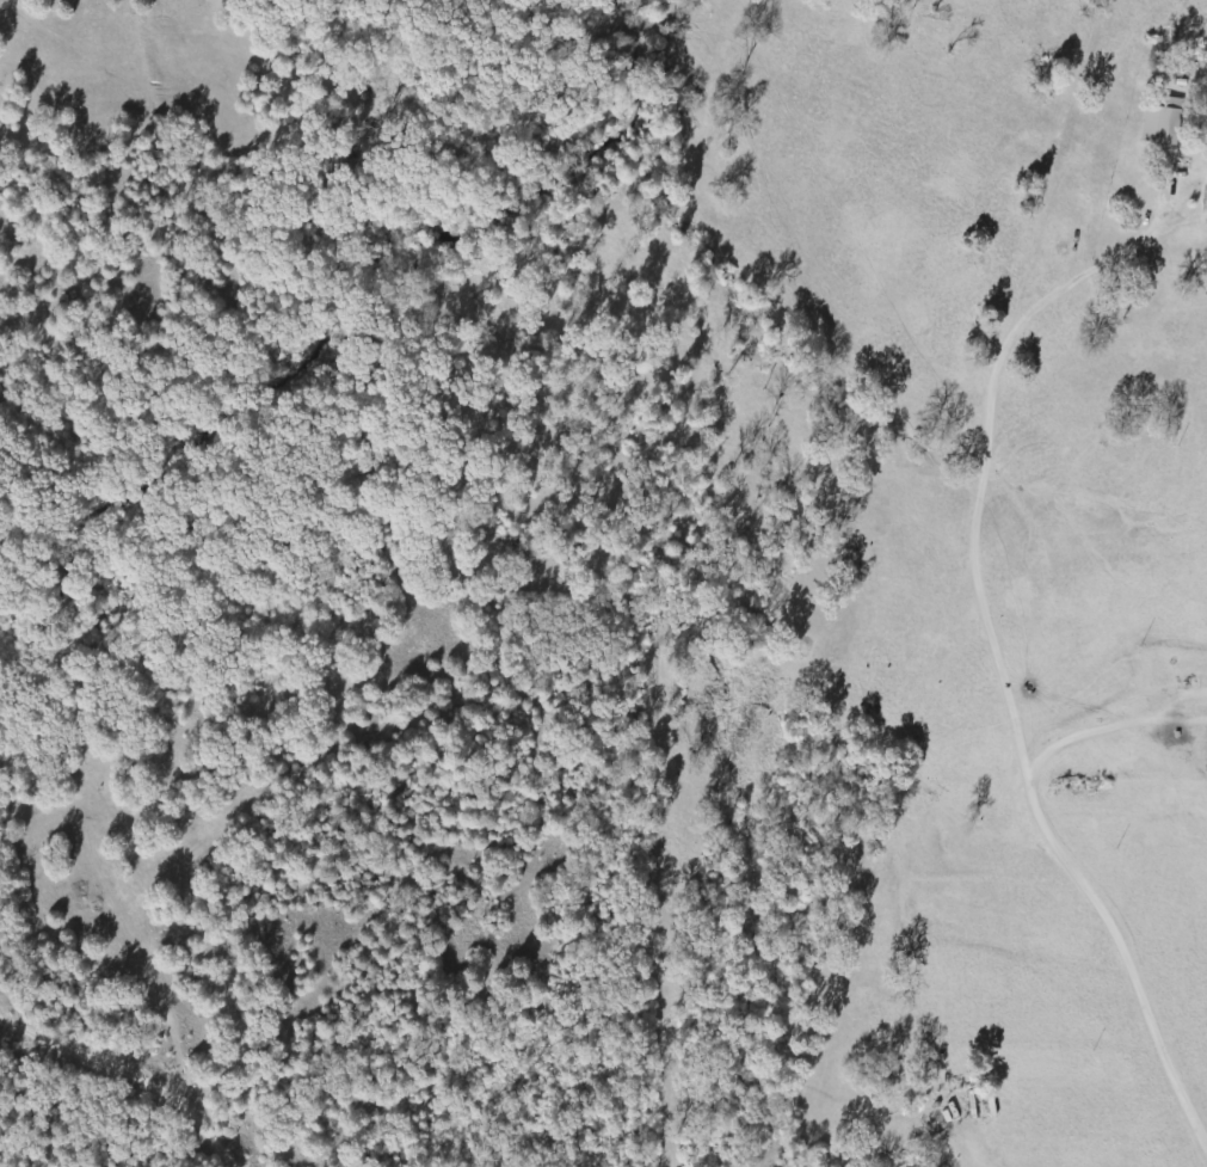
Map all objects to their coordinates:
building: (1163, 123)
road: (1127, 965)

